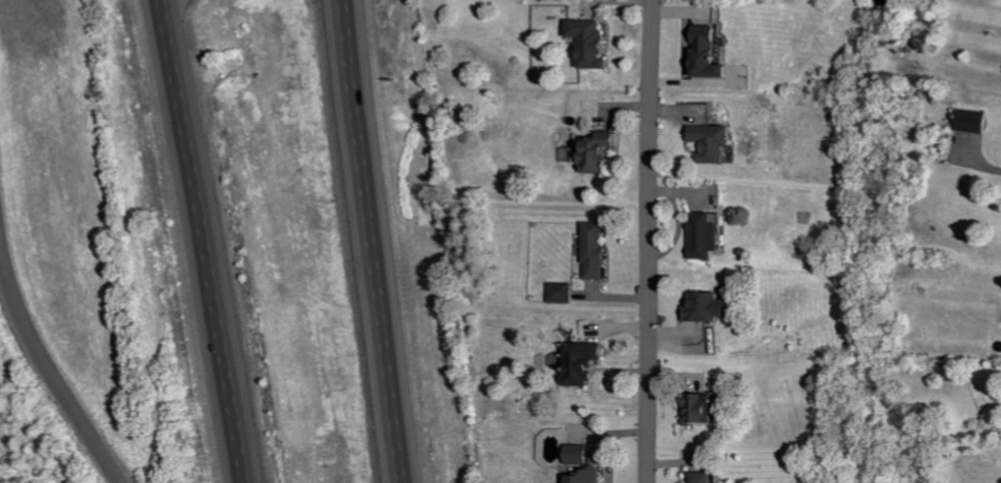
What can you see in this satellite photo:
building: (593, 42)
building: (714, 52)
building: (975, 120)
building: (719, 141)
building: (602, 152)
building: (709, 235)
road: (202, 241)
road: (374, 241)
road: (647, 241)
building: (597, 250)
building: (563, 292)
building: (712, 307)
road: (48, 357)
building: (585, 362)
building: (705, 408)
building: (582, 454)
building: (588, 476)

